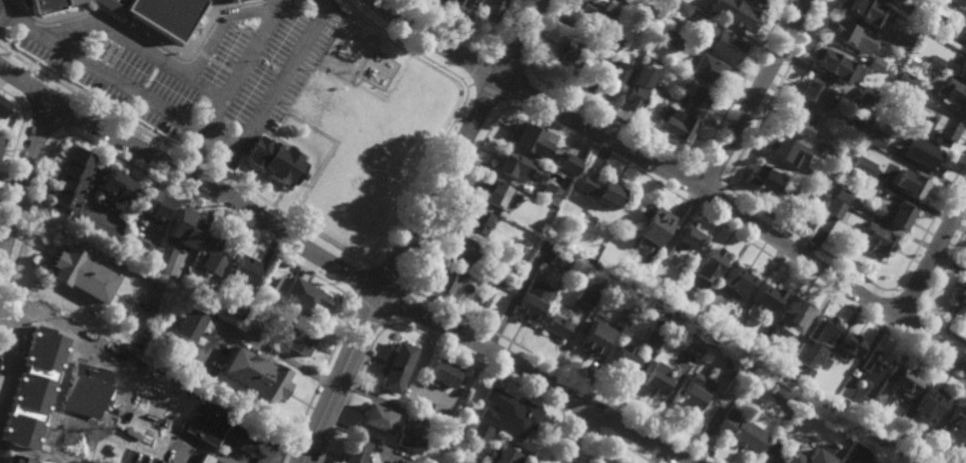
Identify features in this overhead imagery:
building: (247, 0)
building: (507, 0)
building: (610, 0)
building: (895, 0)
building: (759, 1)
building: (957, 2)
building: (464, 4)
building: (51, 5)
building: (492, 9)
building: (682, 9)
building: (597, 12)
building: (865, 12)
building: (162, 13)
building: (649, 13)
building: (739, 15)
building: (844, 32)
building: (955, 35)
road: (469, 37)
building: (670, 40)
building: (900, 41)
building: (722, 42)
building: (607, 43)
road: (492, 46)
building: (570, 53)
road: (508, 58)
building: (827, 61)
building: (936, 62)
road: (527, 65)
building: (875, 65)
road: (242, 66)
road: (482, 66)
building: (707, 70)
building: (963, 71)
building: (620, 72)
building: (643, 76)
road: (515, 82)
building: (907, 84)
road: (469, 85)
building: (896, 89)
road: (489, 91)
building: (814, 92)
building: (956, 94)
road: (754, 96)
building: (634, 97)
building: (693, 98)
building: (905, 98)
road: (15, 99)
building: (864, 99)
road: (507, 103)
building: (3, 106)
road: (499, 113)
road: (48, 116)
building: (795, 121)
building: (676, 125)
road: (192, 126)
building: (857, 127)
building: (942, 129)
road: (66, 131)
building: (531, 140)
building: (876, 141)
building: (1, 142)
building: (782, 149)
road: (660, 150)
road: (12, 152)
road: (197, 154)
building: (925, 154)
building: (841, 156)
building: (273, 161)
building: (509, 164)
building: (569, 164)
building: (863, 167)
road: (697, 171)
road: (673, 175)
building: (70, 178)
building: (764, 180)
building: (824, 183)
building: (912, 183)
building: (118, 187)
road: (27, 188)
building: (602, 191)
building: (494, 194)
building: (843, 194)
building: (550, 195)
road: (206, 202)
building: (818, 202)
building: (152, 203)
building: (837, 210)
building: (895, 214)
building: (524, 221)
building: (478, 222)
building: (655, 226)
road: (416, 228)
building: (183, 229)
building: (98, 232)
building: (878, 239)
building: (689, 240)
road: (333, 244)
road: (92, 249)
building: (506, 249)
building: (142, 250)
building: (463, 250)
building: (666, 251)
building: (215, 256)
road: (932, 258)
building: (162, 261)
building: (559, 261)
road: (368, 263)
building: (711, 265)
building: (965, 267)
road: (340, 270)
building: (638, 271)
building: (81, 275)
road: (385, 275)
building: (243, 276)
building: (492, 277)
road: (361, 281)
building: (444, 281)
building: (740, 281)
road: (406, 282)
building: (186, 284)
building: (960, 294)
building: (589, 295)
road: (351, 297)
building: (485, 298)
building: (767, 298)
building: (313, 300)
road: (393, 301)
building: (532, 301)
building: (677, 302)
building: (243, 305)
road: (369, 307)
building: (232, 310)
building: (795, 316)
building: (623, 319)
building: (702, 320)
building: (737, 320)
road: (385, 323)
building: (585, 325)
building: (188, 326)
building: (557, 327)
building: (824, 331)
road: (431, 339)
building: (653, 339)
building: (301, 340)
building: (595, 340)
building: (765, 340)
road: (262, 346)
building: (693, 346)
building: (851, 346)
building: (755, 356)
building: (624, 361)
building: (806, 361)
building: (726, 367)
building: (394, 368)
building: (62, 372)
building: (876, 373)
building: (442, 376)
building: (257, 377)
building: (819, 379)
building: (658, 380)
building: (906, 383)
building: (496, 398)
building: (692, 400)
building: (839, 406)
building: (930, 406)
road: (564, 409)
building: (872, 416)
road: (582, 417)
building: (376, 418)
building: (521, 419)
building: (957, 424)
building: (206, 425)
building: (27, 428)
building: (901, 428)
road: (598, 431)
building: (742, 432)
building: (936, 432)
building: (479, 433)
road: (579, 433)
road: (610, 438)
building: (410, 442)
building: (356, 450)
road: (203, 451)
building: (84, 452)
building: (503, 456)
building: (808, 456)
building: (18, 459)
building: (207, 459)
building: (956, 459)
building: (451, 460)
building: (850, 461)
building: (614, 462)
building: (620, 462)

